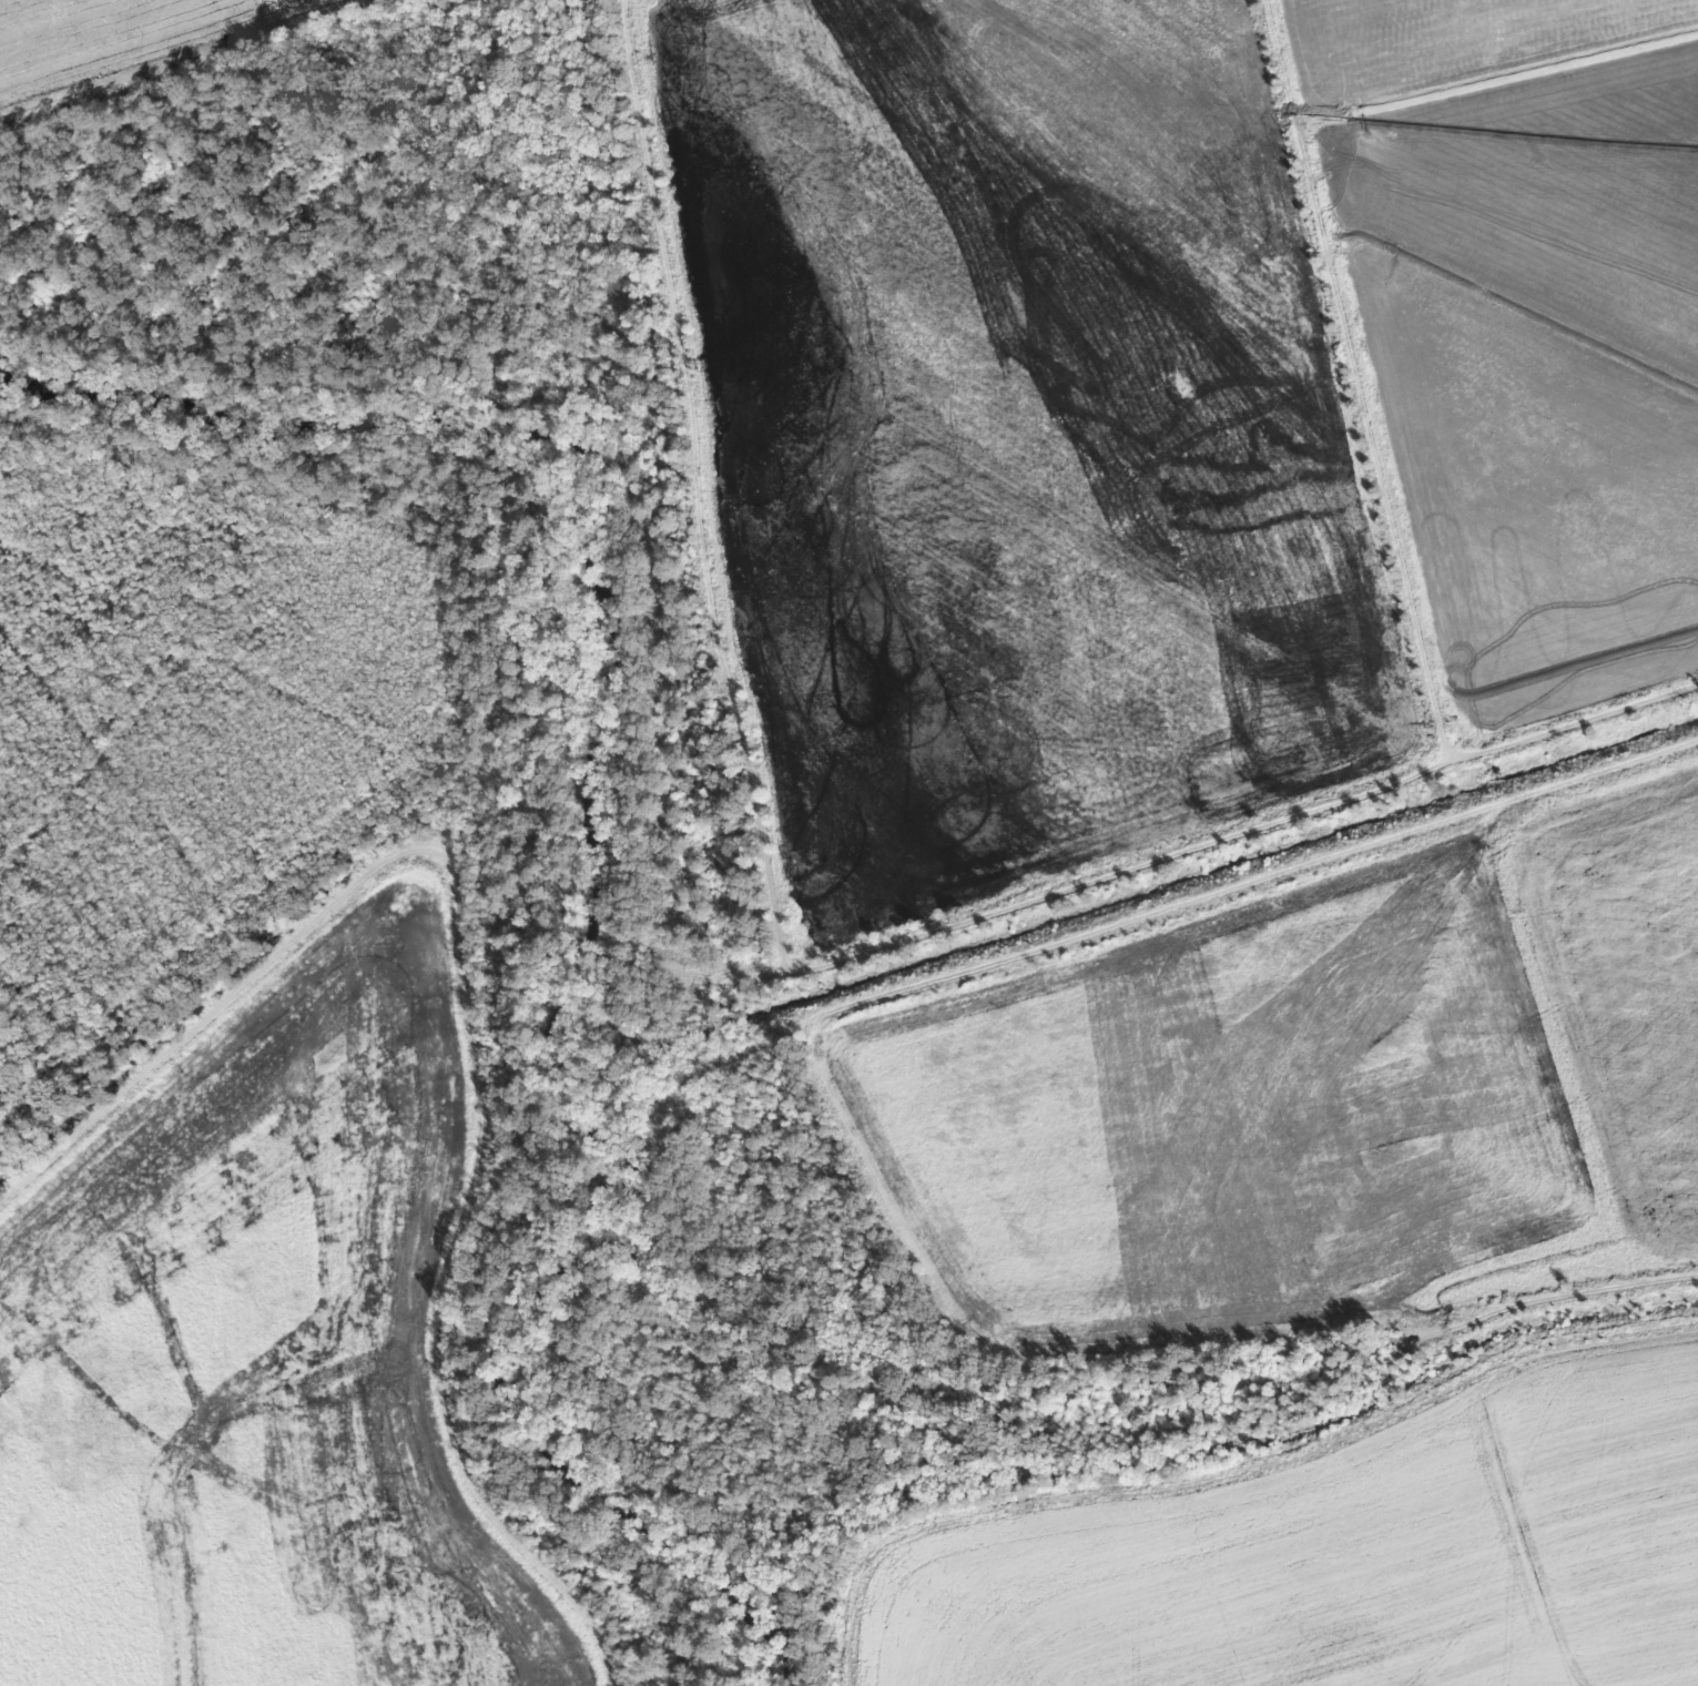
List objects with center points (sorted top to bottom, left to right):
road: (83, 904)
road: (1319, 1413)
road: (998, 1440)

